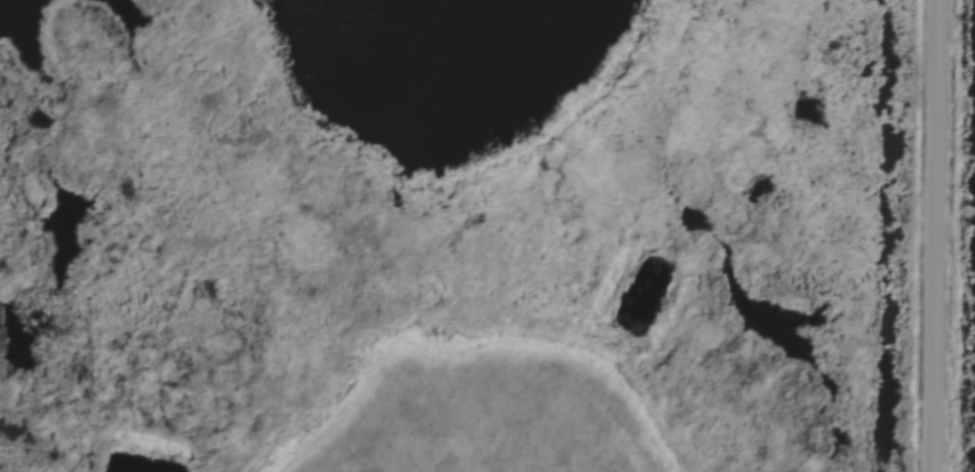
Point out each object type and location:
road: (934, 236)

